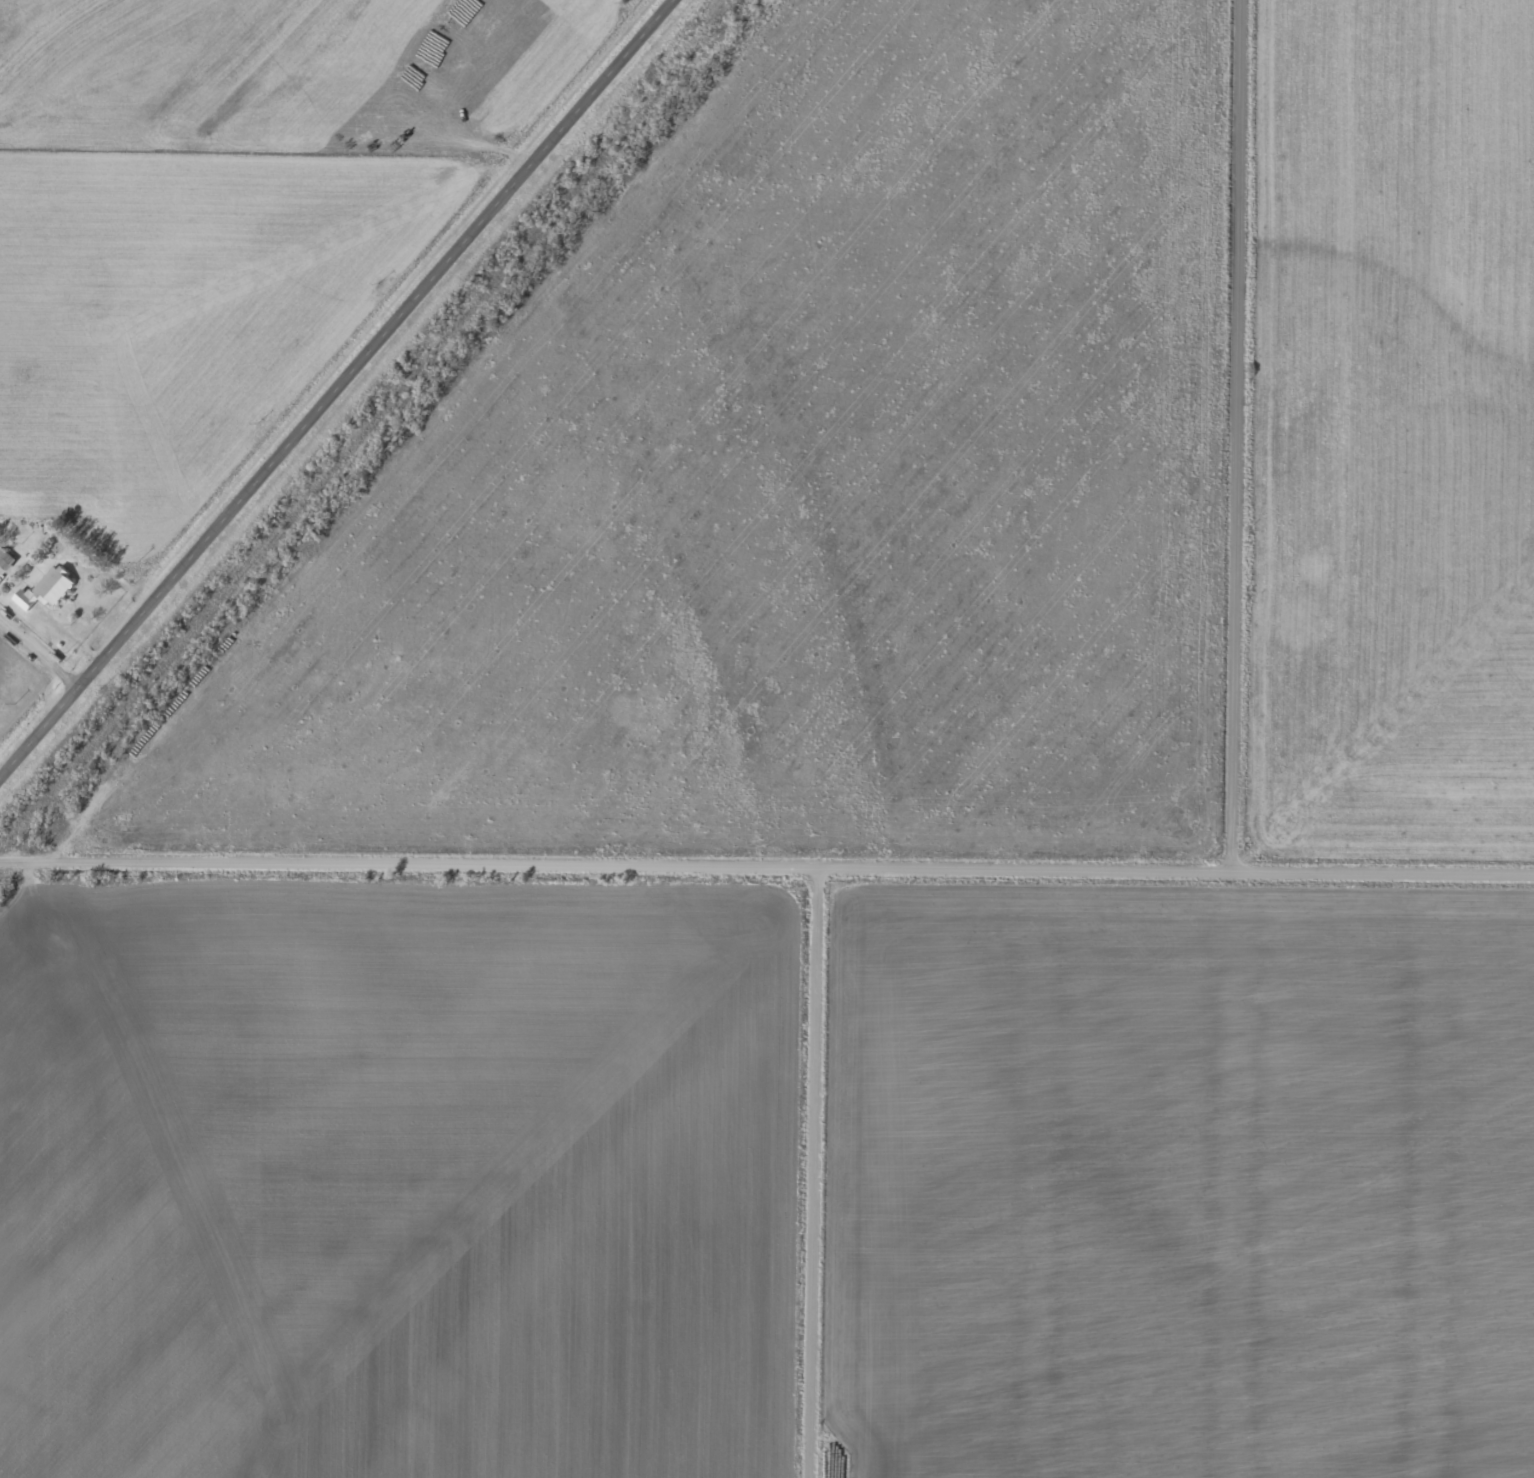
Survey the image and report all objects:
road: (342, 395)
railway: (367, 423)
road: (1242, 434)
building: (49, 591)
road: (766, 864)
road: (819, 1171)

